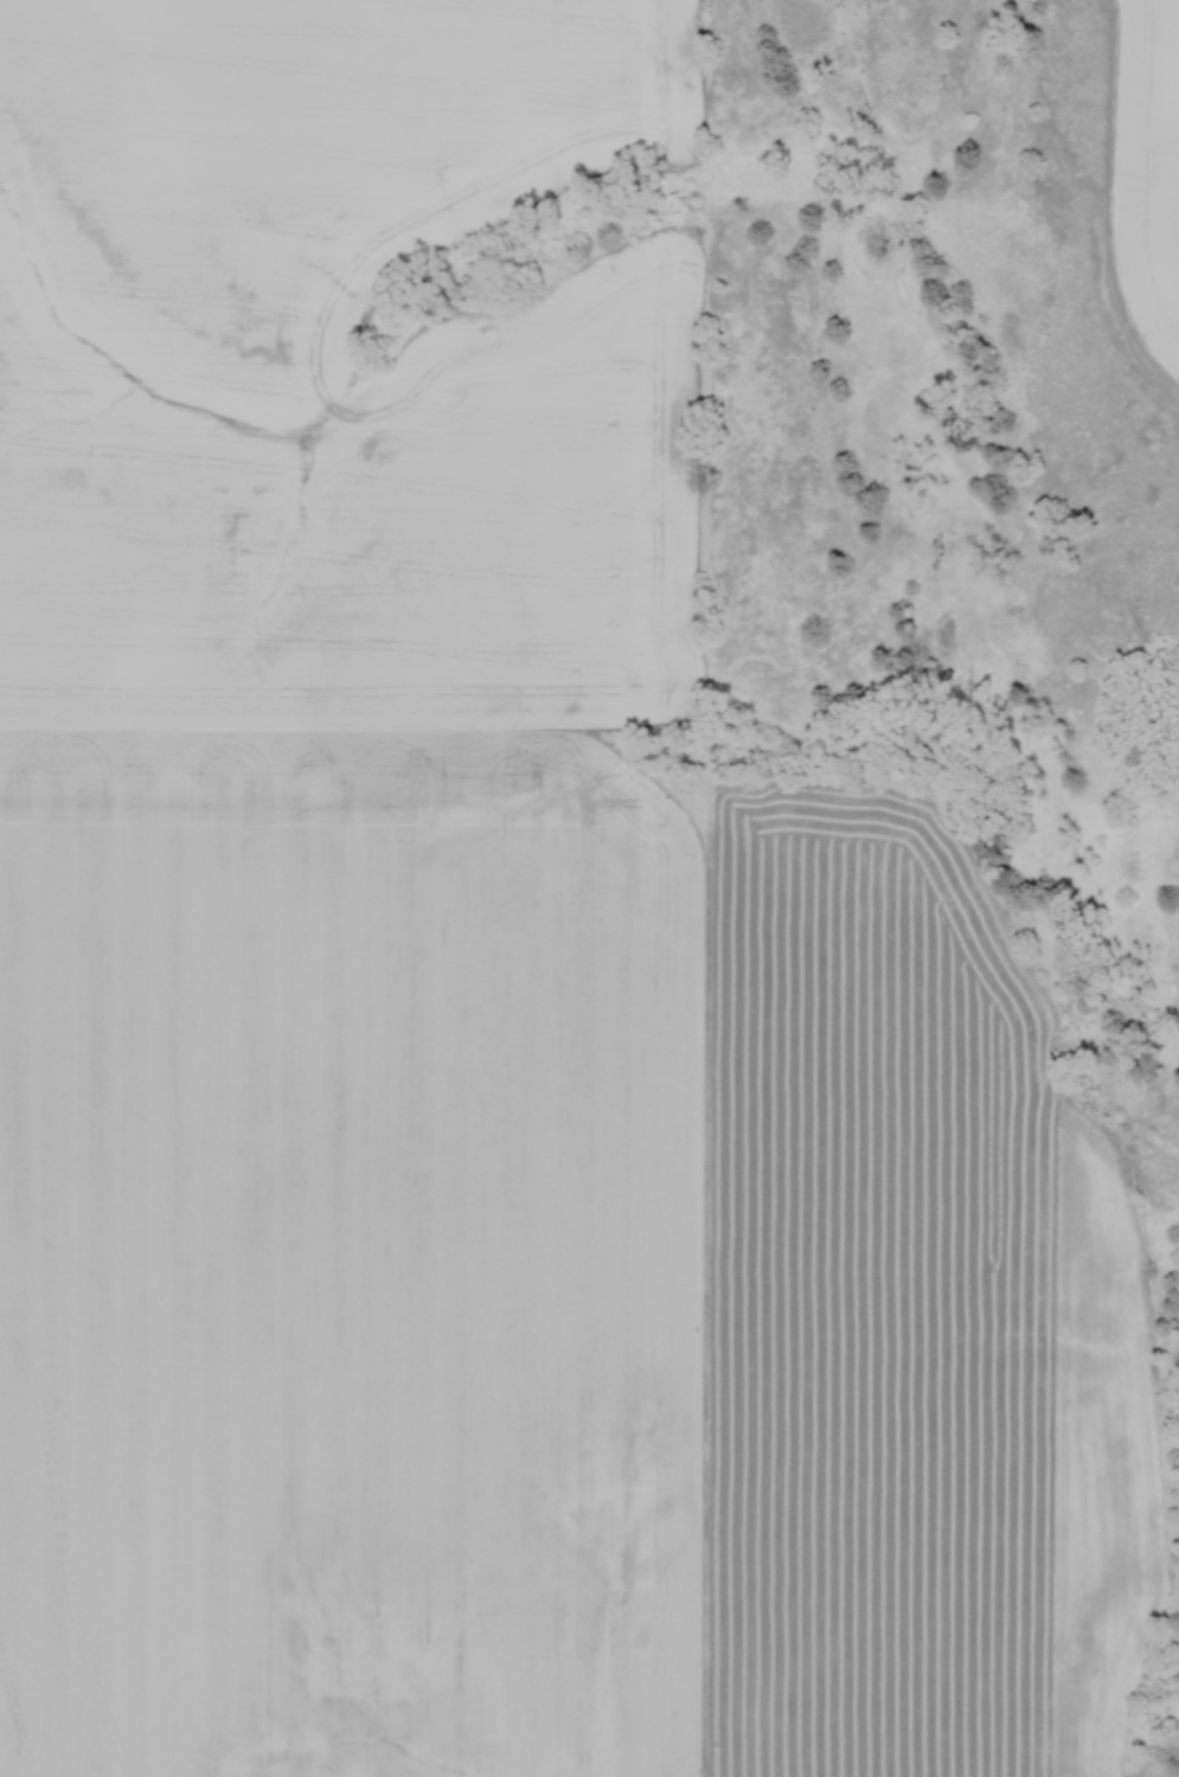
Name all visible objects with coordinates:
crop: (334, 366)

